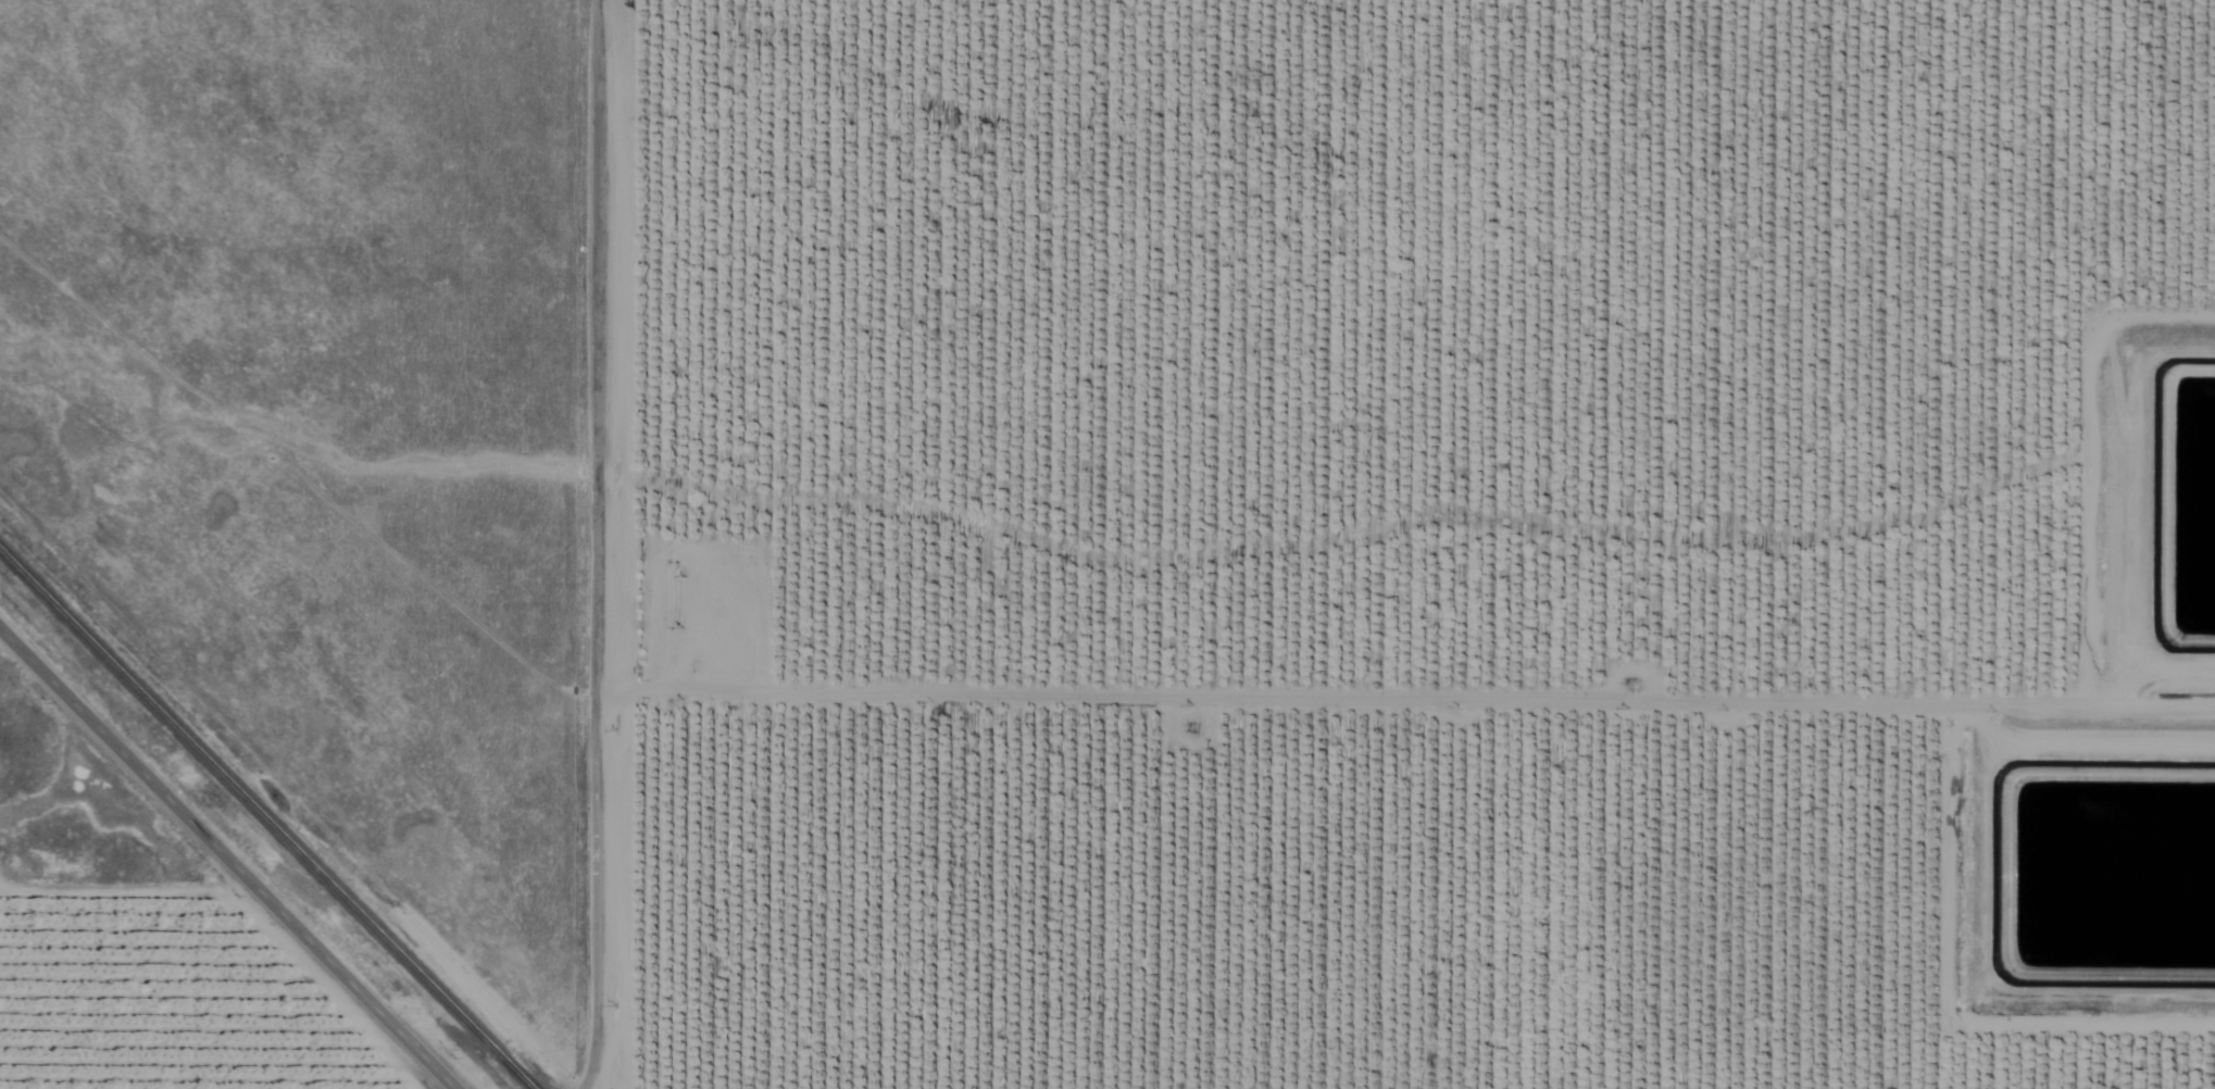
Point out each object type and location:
crop: (1369, 529)
road: (601, 544)
railway: (265, 821)
road: (225, 861)
crop: (192, 987)

